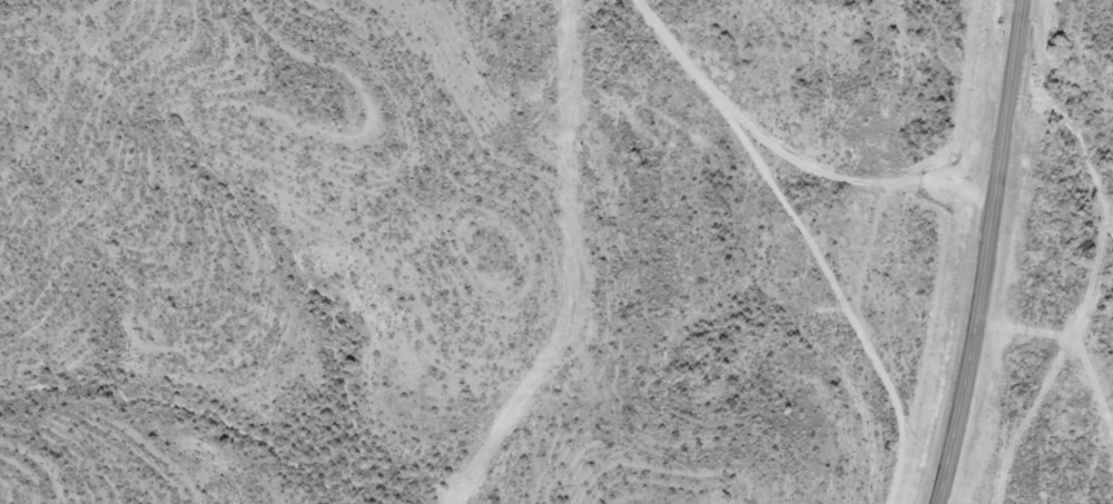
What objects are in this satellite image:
road: (794, 150)
road: (987, 253)

